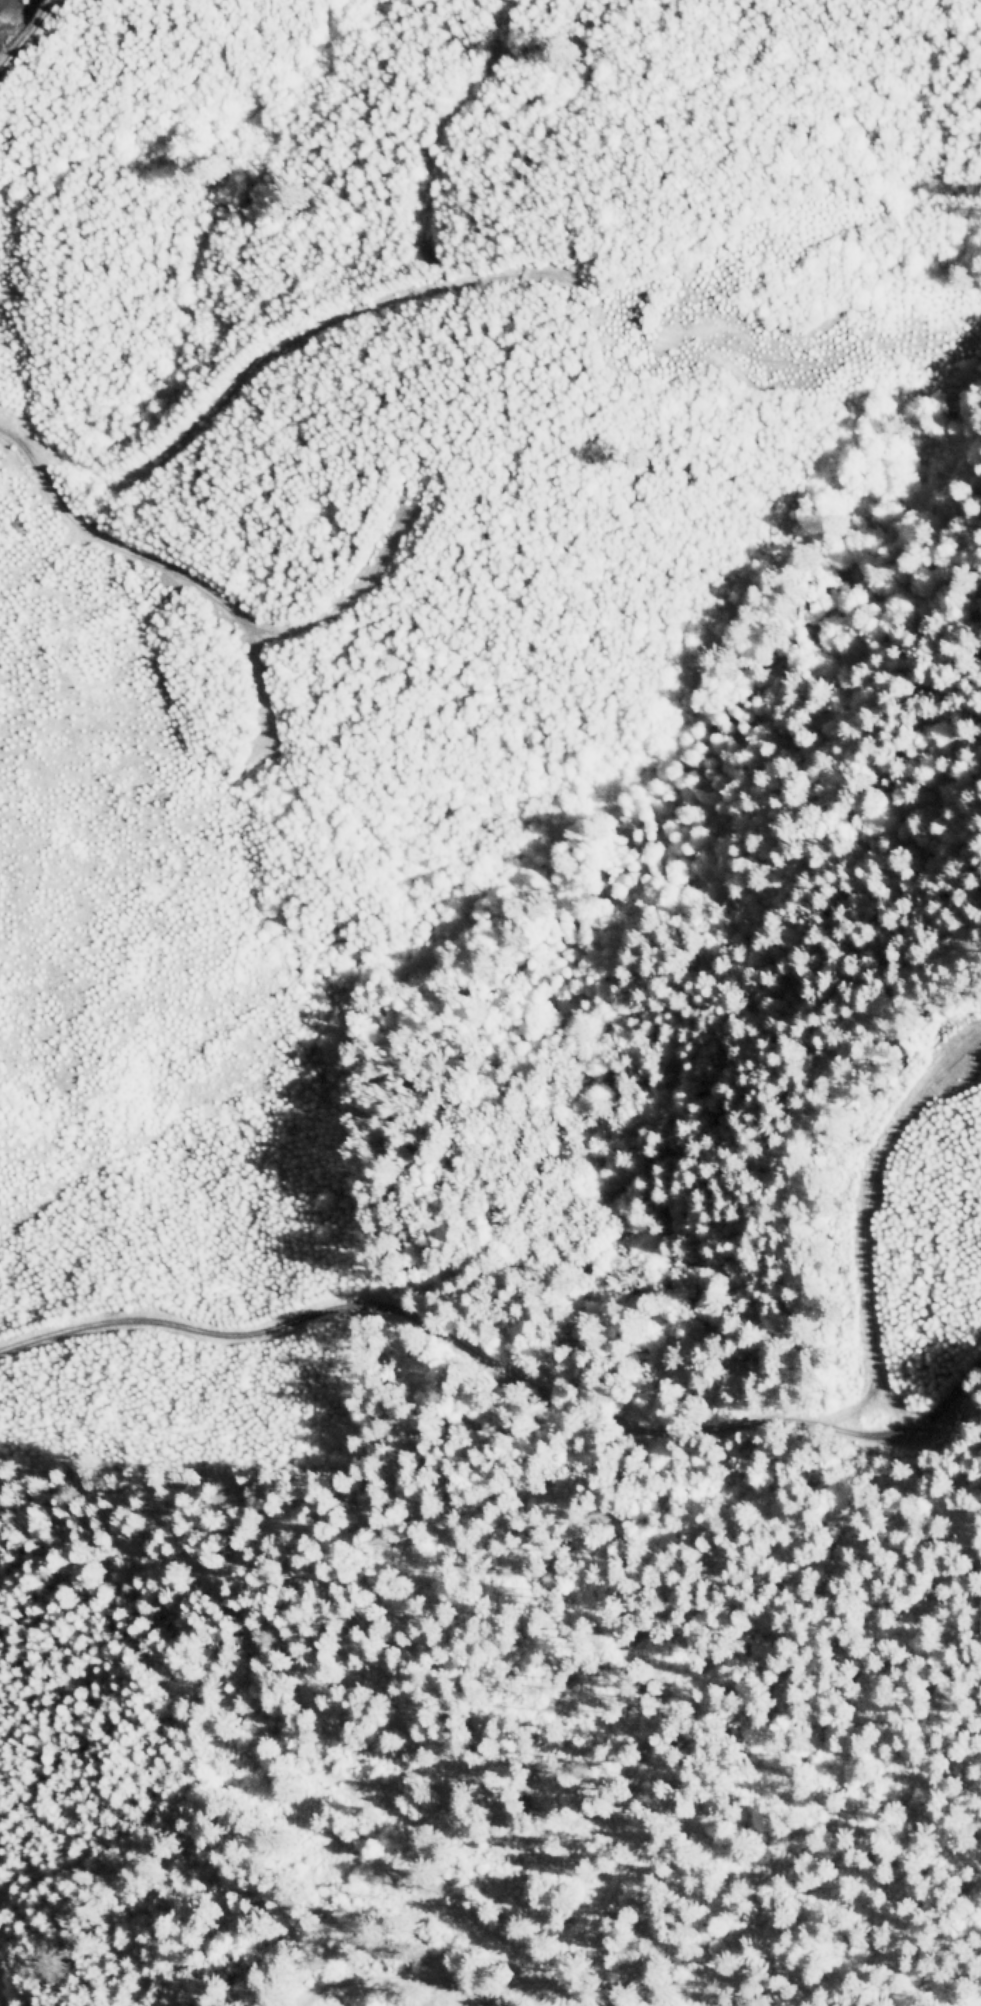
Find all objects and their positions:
road: (498, 1370)
road: (444, 1978)
road: (0, 2004)

